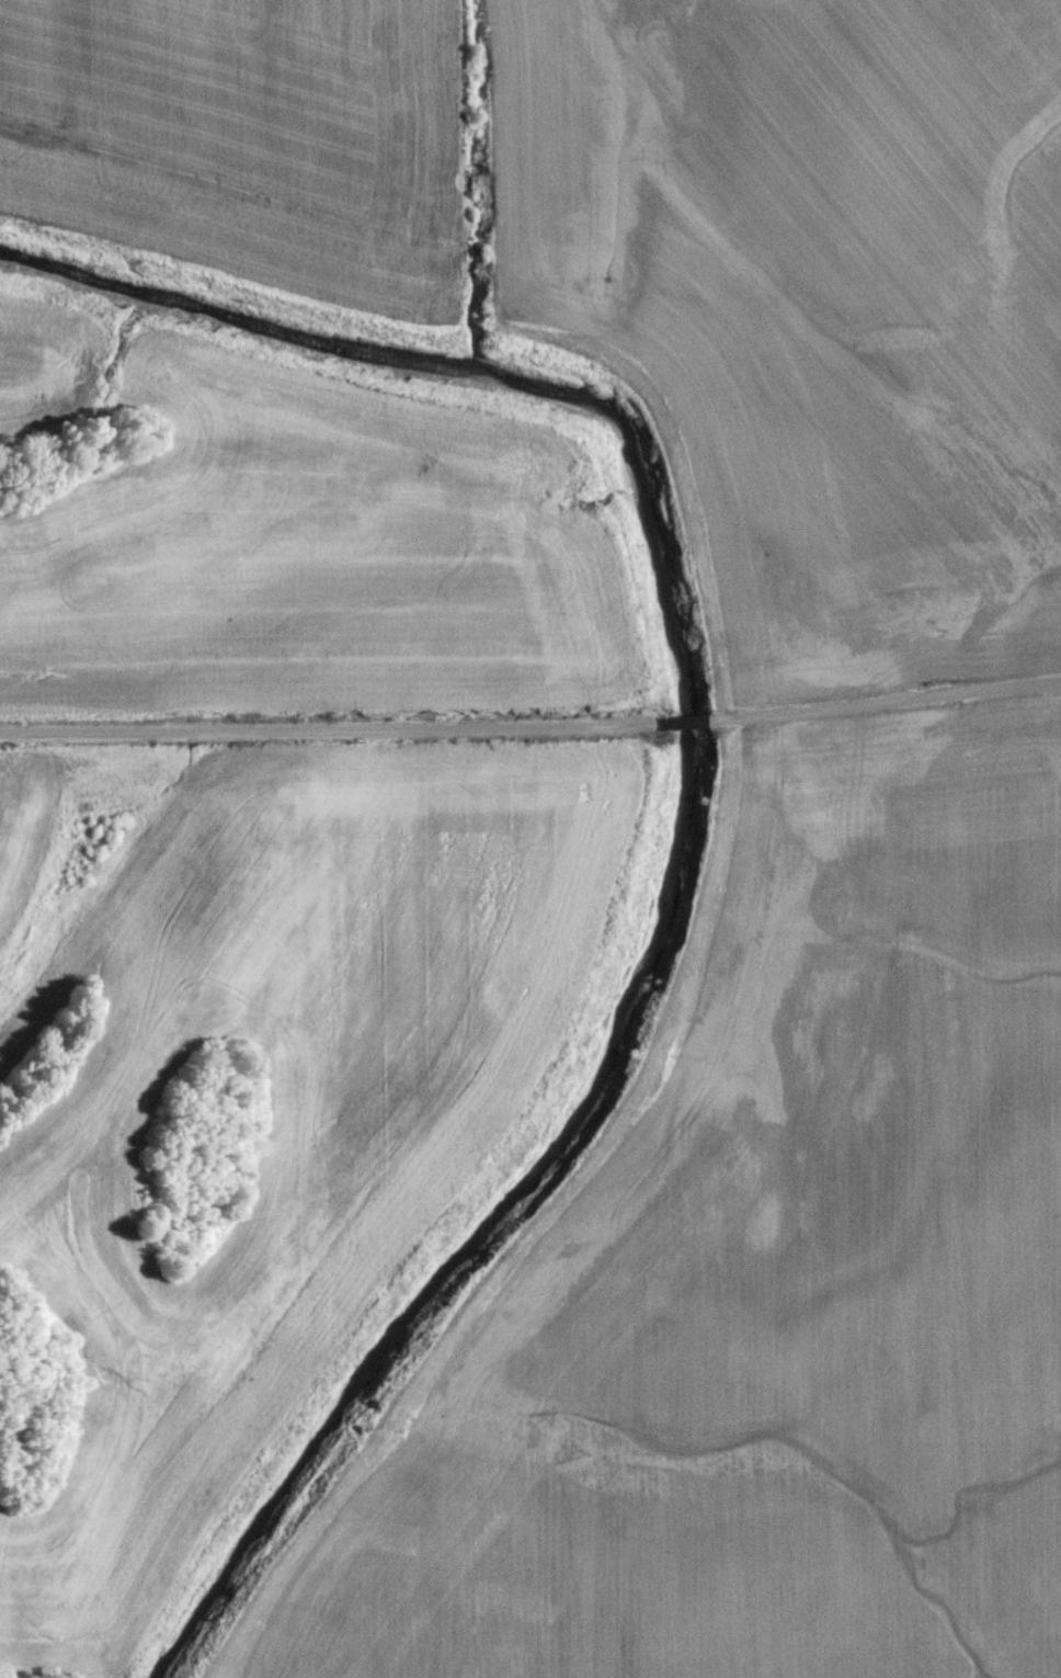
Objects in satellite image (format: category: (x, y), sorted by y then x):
road: (876, 706)
road: (345, 734)
building: (1050, 801)

